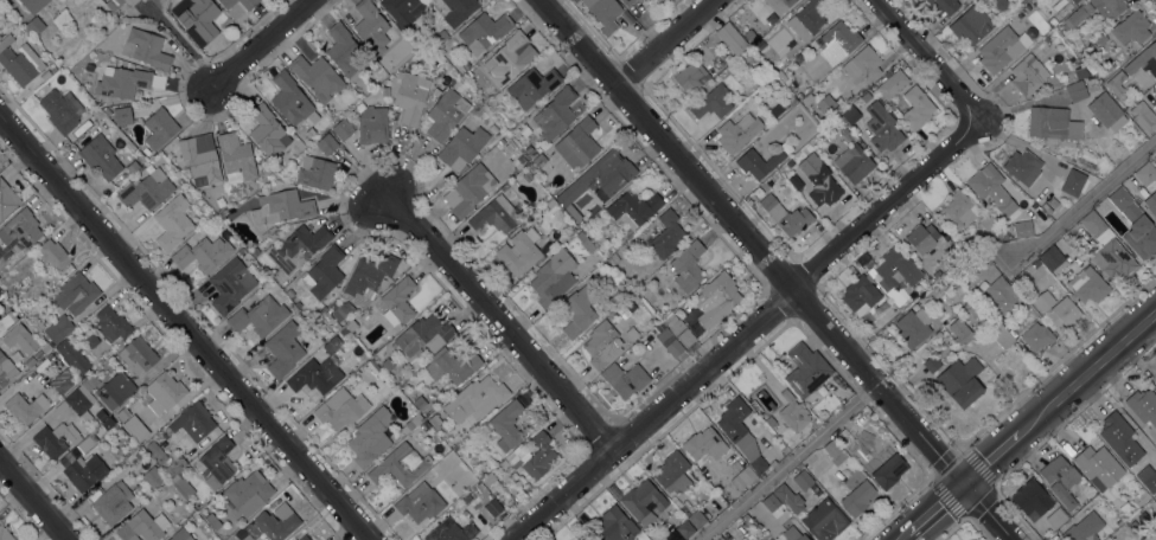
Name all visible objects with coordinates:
building: (644, 1)
building: (1075, 1)
building: (627, 2)
building: (119, 4)
building: (33, 5)
building: (779, 5)
building: (248, 6)
building: (943, 6)
building: (1107, 7)
building: (403, 11)
building: (458, 11)
building: (603, 13)
building: (1078, 14)
building: (810, 17)
building: (196, 19)
building: (0, 24)
building: (971, 24)
building: (34, 26)
building: (372, 27)
building: (1131, 28)
building: (484, 31)
building: (441, 36)
building: (749, 36)
building: (730, 39)
road: (180, 40)
road: (663, 43)
building: (837, 43)
road: (256, 44)
building: (148, 49)
building: (999, 50)
building: (345, 51)
road: (926, 56)
building: (506, 58)
building: (19, 60)
building: (1143, 60)
building: (465, 65)
building: (862, 65)
building: (1080, 72)
building: (1028, 75)
building: (318, 77)
building: (691, 77)
building: (126, 82)
building: (1116, 83)
building: (892, 84)
building: (532, 86)
building: (1077, 92)
building: (408, 94)
building: (866, 97)
building: (289, 98)
building: (807, 99)
building: (850, 99)
building: (791, 101)
building: (711, 103)
building: (828, 105)
building: (783, 108)
building: (917, 108)
building: (62, 110)
building: (1106, 111)
building: (107, 112)
building: (97, 114)
building: (446, 114)
building: (553, 115)
building: (850, 115)
building: (122, 116)
building: (1144, 116)
building: (816, 117)
building: (1053, 124)
building: (372, 126)
building: (159, 128)
building: (882, 128)
building: (341, 129)
building: (268, 133)
building: (737, 133)
building: (847, 134)
building: (577, 143)
building: (326, 144)
building: (464, 144)
building: (786, 147)
building: (200, 156)
building: (799, 156)
building: (101, 157)
building: (236, 157)
building: (1154, 159)
building: (537, 162)
building: (758, 162)
building: (854, 163)
building: (132, 167)
building: (1023, 167)
building: (611, 172)
building: (317, 174)
building: (1147, 175)
building: (528, 176)
building: (794, 181)
building: (984, 181)
building: (1073, 182)
building: (146, 189)
building: (471, 189)
building: (824, 191)
road: (1086, 197)
building: (7, 199)
building: (1119, 199)
building: (1053, 202)
building: (1151, 204)
building: (1004, 206)
building: (1043, 206)
building: (281, 207)
building: (633, 207)
building: (959, 210)
building: (575, 213)
building: (785, 213)
building: (493, 216)
building: (173, 221)
building: (20, 229)
building: (992, 229)
building: (1022, 229)
building: (665, 234)
building: (1141, 237)
building: (921, 238)
building: (587, 245)
building: (298, 247)
building: (1106, 249)
building: (242, 251)
building: (255, 251)
building: (519, 252)
building: (954, 252)
building: (202, 253)
building: (53, 255)
building: (1049, 261)
building: (688, 266)
road: (772, 269)
building: (895, 271)
building: (324, 272)
building: (553, 277)
building: (368, 278)
building: (633, 282)
building: (230, 285)
building: (1087, 285)
building: (638, 288)
building: (289, 292)
building: (76, 294)
building: (860, 295)
building: (979, 296)
building: (1002, 296)
building: (651, 298)
building: (716, 298)
building: (397, 302)
building: (333, 306)
building: (292, 307)
building: (625, 308)
building: (972, 308)
building: (1056, 309)
building: (341, 310)
building: (579, 310)
building: (258, 316)
building: (7, 319)
building: (985, 322)
road: (499, 323)
building: (37, 324)
building: (350, 324)
building: (111, 326)
building: (913, 327)
building: (59, 328)
road: (183, 329)
building: (654, 329)
building: (343, 330)
building: (678, 330)
road: (743, 332)
building: (960, 332)
building: (631, 334)
building: (423, 335)
building: (938, 335)
building: (1002, 336)
building: (1036, 336)
building: (90, 340)
building: (331, 343)
building: (602, 345)
building: (672, 346)
building: (283, 349)
building: (138, 355)
building: (72, 356)
building: (30, 361)
building: (931, 364)
building: (387, 365)
building: (452, 365)
building: (371, 366)
building: (806, 369)
building: (6, 371)
building: (315, 375)
building: (398, 377)
road: (1087, 377)
building: (625, 380)
building: (60, 381)
building: (960, 381)
building: (90, 382)
building: (1155, 387)
building: (115, 390)
building: (164, 392)
building: (480, 397)
building: (76, 403)
building: (419, 403)
building: (1143, 406)
building: (25, 409)
building: (340, 409)
building: (793, 412)
building: (122, 413)
building: (101, 414)
building: (767, 420)
building: (193, 422)
building: (435, 422)
building: (107, 423)
building: (411, 423)
building: (506, 425)
building: (135, 427)
building: (740, 433)
building: (370, 437)
building: (843, 438)
building: (1119, 438)
building: (55, 439)
building: (87, 443)
building: (703, 444)
building: (445, 449)
building: (157, 452)
building: (835, 452)
building: (534, 456)
building: (811, 456)
building: (218, 462)
building: (773, 463)
road: (785, 463)
building: (805, 463)
road: (989, 463)
building: (401, 464)
building: (175, 467)
building: (735, 467)
building: (886, 467)
building: (1098, 467)
building: (84, 471)
building: (673, 472)
building: (152, 477)
building: (742, 478)
building: (1147, 478)
building: (801, 480)
building: (1060, 480)
building: (490, 481)
building: (180, 483)
building: (716, 483)
building: (480, 490)
building: (248, 493)
building: (857, 494)
building: (788, 499)
building: (1032, 500)
building: (113, 502)
building: (643, 502)
building: (771, 502)
building: (209, 503)
building: (420, 503)
road: (31, 504)
building: (493, 508)
road: (934, 512)
building: (696, 519)
building: (1056, 519)
building: (824, 521)
building: (272, 526)
building: (614, 526)
building: (142, 527)
building: (1084, 528)
building: (684, 529)
building: (451, 532)
building: (5, 534)
building: (792, 534)
building: (180, 535)
road: (906, 536)
building: (304, 538)
building: (669, 538)
building: (720, 538)
building: (230, 539)
building: (293, 539)
building: (580, 539)
building: (586, 539)

